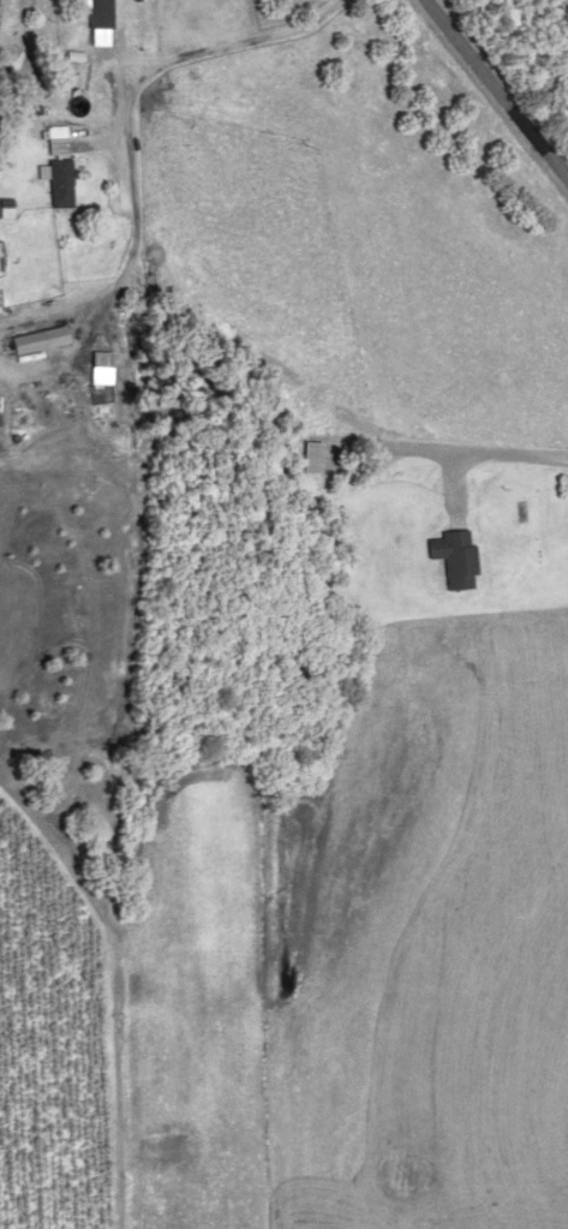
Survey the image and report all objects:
building: (91, 12)
road: (478, 123)
building: (47, 138)
building: (49, 181)
road: (205, 365)
building: (305, 454)
building: (449, 556)

